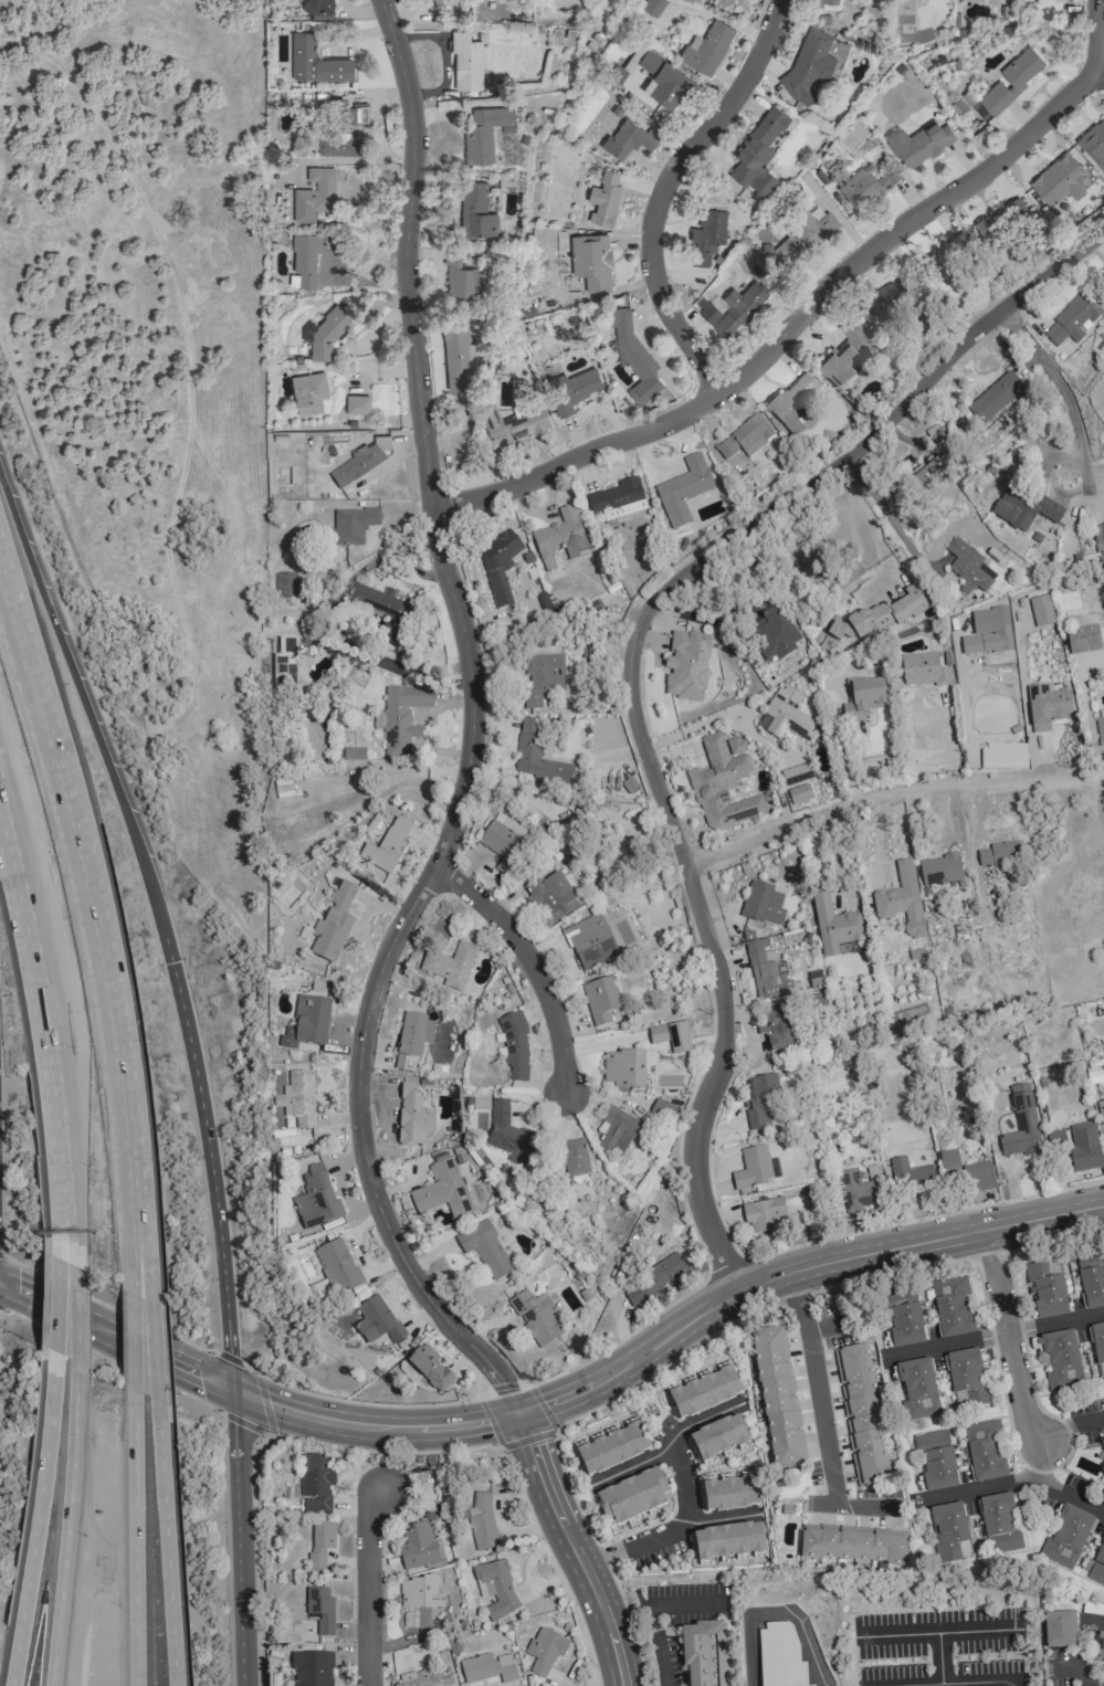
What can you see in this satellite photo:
building: (432, 1)
building: (653, 8)
building: (319, 9)
building: (707, 46)
building: (316, 61)
building: (466, 61)
building: (808, 64)
road: (1098, 74)
building: (661, 77)
building: (1011, 81)
building: (341, 129)
building: (485, 133)
building: (629, 139)
building: (1093, 141)
building: (918, 144)
building: (758, 152)
building: (1059, 180)
building: (865, 186)
road: (664, 188)
building: (315, 193)
building: (604, 199)
building: (476, 211)
building: (998, 221)
building: (807, 234)
building: (707, 235)
building: (305, 257)
building: (939, 259)
building: (591, 261)
building: (461, 277)
building: (892, 297)
building: (740, 306)
road: (181, 307)
road: (812, 307)
building: (709, 313)
building: (1072, 319)
building: (326, 329)
building: (847, 351)
building: (633, 355)
building: (458, 357)
road: (1054, 379)
building: (572, 391)
building: (308, 392)
building: (993, 398)
building: (792, 401)
building: (357, 404)
building: (514, 423)
building: (745, 438)
building: (927, 475)
road: (1081, 483)
building: (682, 491)
building: (618, 499)
building: (1022, 509)
building: (354, 525)
road: (877, 537)
building: (560, 538)
road: (907, 547)
building: (497, 567)
building: (967, 568)
building: (641, 571)
building: (284, 586)
building: (383, 609)
building: (1041, 611)
building: (877, 618)
building: (988, 632)
building: (772, 634)
building: (1083, 640)
road: (387, 663)
building: (686, 666)
road: (625, 667)
building: (923, 670)
building: (287, 672)
building: (542, 677)
building: (863, 698)
building: (1047, 706)
building: (787, 716)
building: (400, 718)
building: (1100, 726)
road: (471, 736)
building: (351, 752)
building: (1002, 756)
building: (537, 757)
building: (796, 774)
building: (723, 784)
road: (886, 792)
building: (799, 794)
building: (505, 843)
building: (387, 847)
building: (999, 854)
building: (940, 870)
road: (88, 878)
building: (553, 898)
building: (901, 900)
building: (763, 903)
road: (160, 921)
building: (333, 926)
building: (833, 926)
building: (589, 942)
traffic signals: (172, 960)
road: (529, 961)
building: (450, 966)
building: (765, 972)
building: (599, 1000)
road: (45, 1018)
building: (307, 1023)
building: (776, 1028)
building: (671, 1036)
building: (412, 1040)
building: (514, 1049)
building: (625, 1068)
building: (297, 1098)
building: (761, 1102)
building: (663, 1111)
building: (1101, 1113)
building: (412, 1116)
building: (1020, 1125)
building: (617, 1130)
building: (508, 1135)
building: (1084, 1147)
building: (572, 1158)
building: (753, 1168)
building: (966, 1171)
building: (910, 1174)
building: (859, 1189)
building: (441, 1190)
building: (316, 1197)
building: (764, 1215)
road: (63, 1242)
road: (70, 1245)
road: (132, 1247)
building: (484, 1248)
road: (143, 1252)
building: (337, 1268)
road: (795, 1269)
building: (653, 1279)
building: (1092, 1279)
building: (1047, 1288)
road: (18, 1289)
road: (107, 1303)
road: (56, 1307)
building: (951, 1307)
road: (75, 1315)
building: (535, 1317)
building: (377, 1321)
building: (905, 1324)
road: (106, 1330)
road: (1001, 1338)
building: (1097, 1341)
road: (130, 1342)
road: (688, 1346)
road: (154, 1352)
road: (1010, 1356)
road: (228, 1358)
road: (112, 1359)
building: (1061, 1361)
building: (430, 1368)
building: (1101, 1371)
road: (204, 1377)
building: (967, 1378)
road: (824, 1387)
traffic signals: (233, 1390)
building: (917, 1390)
building: (704, 1392)
road: (475, 1393)
building: (778, 1397)
road: (356, 1402)
traffic signals: (515, 1413)
building: (861, 1415)
road: (265, 1425)
road: (371, 1425)
road: (1065, 1430)
building: (718, 1437)
building: (611, 1450)
road: (378, 1451)
building: (985, 1451)
building: (936, 1461)
building: (314, 1484)
road: (1020, 1488)
building: (729, 1494)
building: (632, 1496)
building: (1102, 1500)
road: (853, 1507)
road: (34, 1520)
building: (481, 1522)
building: (1000, 1522)
road: (66, 1525)
road: (667, 1530)
building: (949, 1532)
road: (238, 1537)
road: (134, 1538)
building: (1066, 1538)
building: (728, 1541)
road: (165, 1543)
building: (320, 1543)
building: (420, 1543)
building: (852, 1545)
road: (570, 1548)
building: (1097, 1567)
road: (366, 1585)
building: (495, 1589)
building: (419, 1600)
building: (320, 1610)
road: (775, 1611)
road: (653, 1617)
road: (1100, 1621)
building: (1059, 1629)
building: (1098, 1648)
building: (545, 1650)
building: (704, 1653)
building: (780, 1656)
building: (487, 1667)
building: (312, 1668)
road: (1079, 1669)
road: (946, 1680)
building: (427, 1682)
road: (593, 1685)

